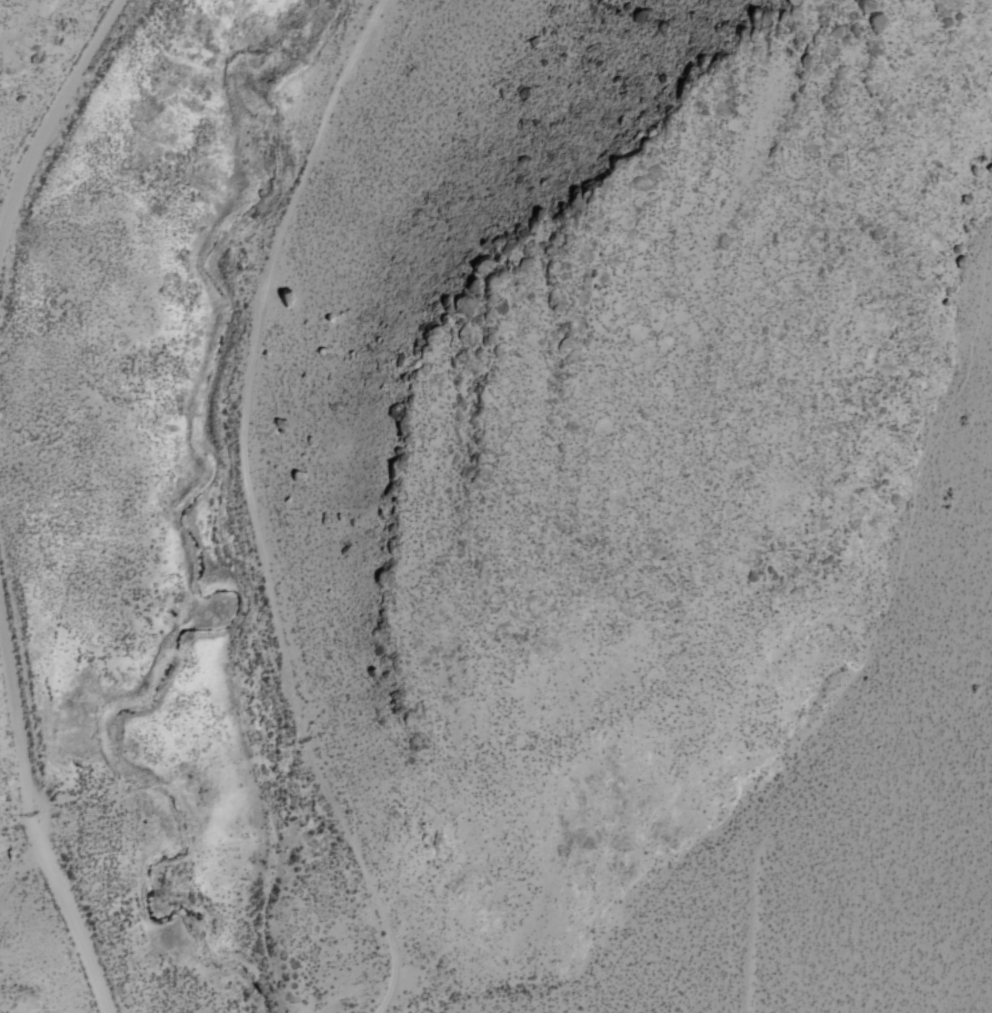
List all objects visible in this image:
road: (54, 116)
road: (260, 508)
road: (32, 800)

